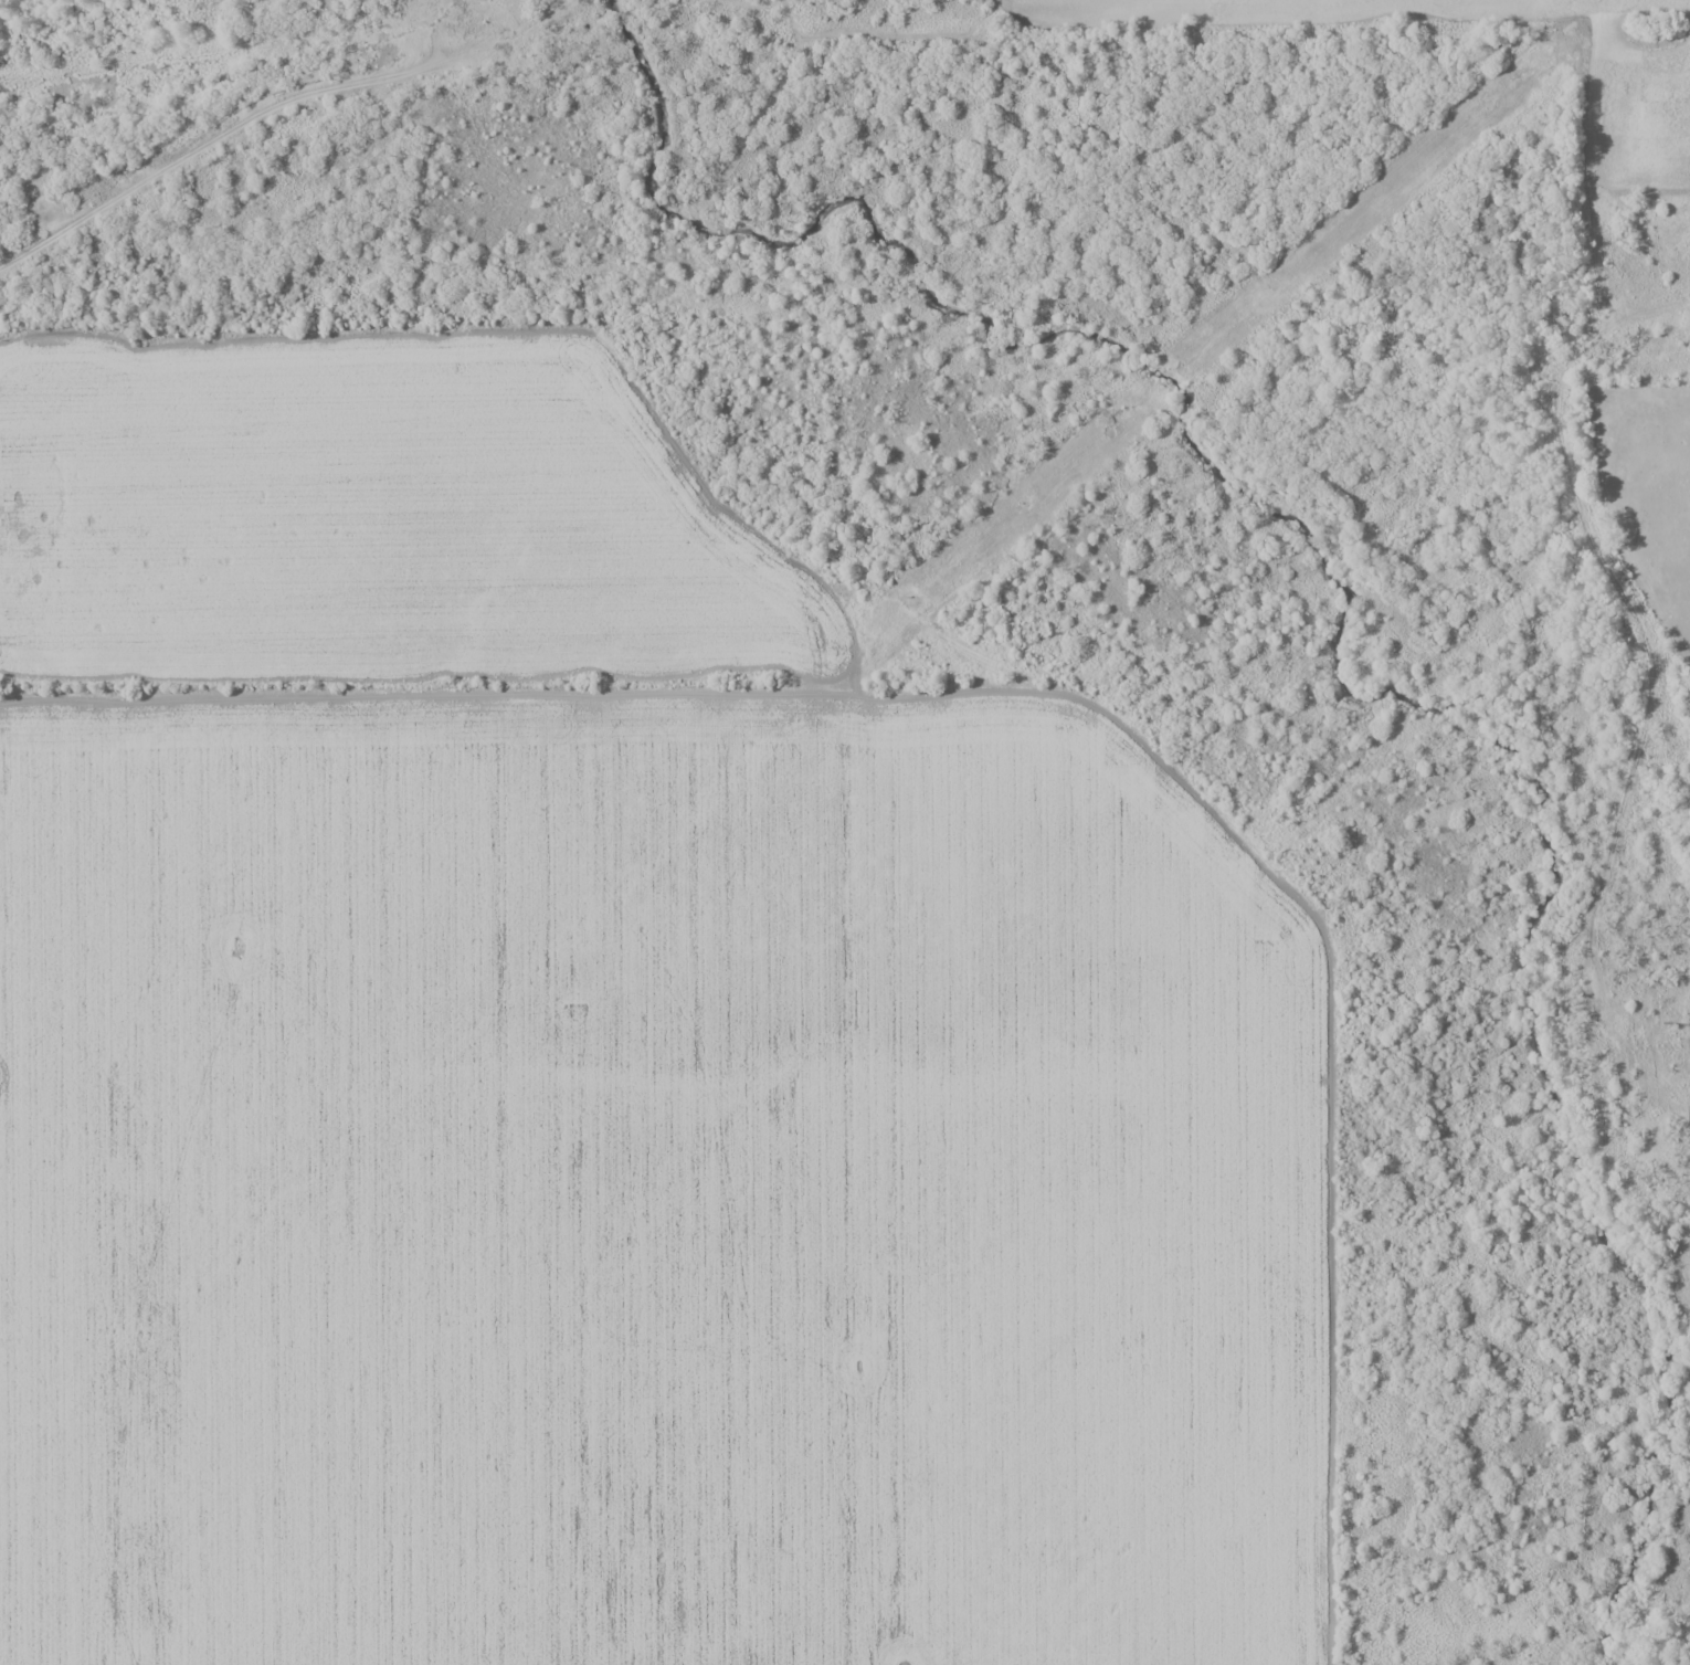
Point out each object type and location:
road: (1647, 314)

